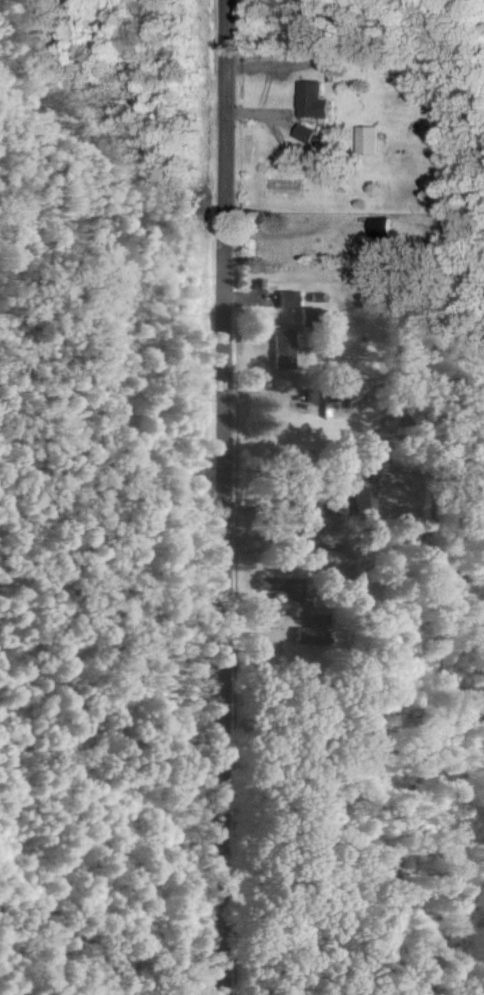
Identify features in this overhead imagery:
building: (309, 101)
building: (302, 134)
building: (364, 141)
building: (377, 226)
building: (287, 299)
building: (283, 350)
road: (224, 497)
building: (363, 503)
building: (310, 638)

